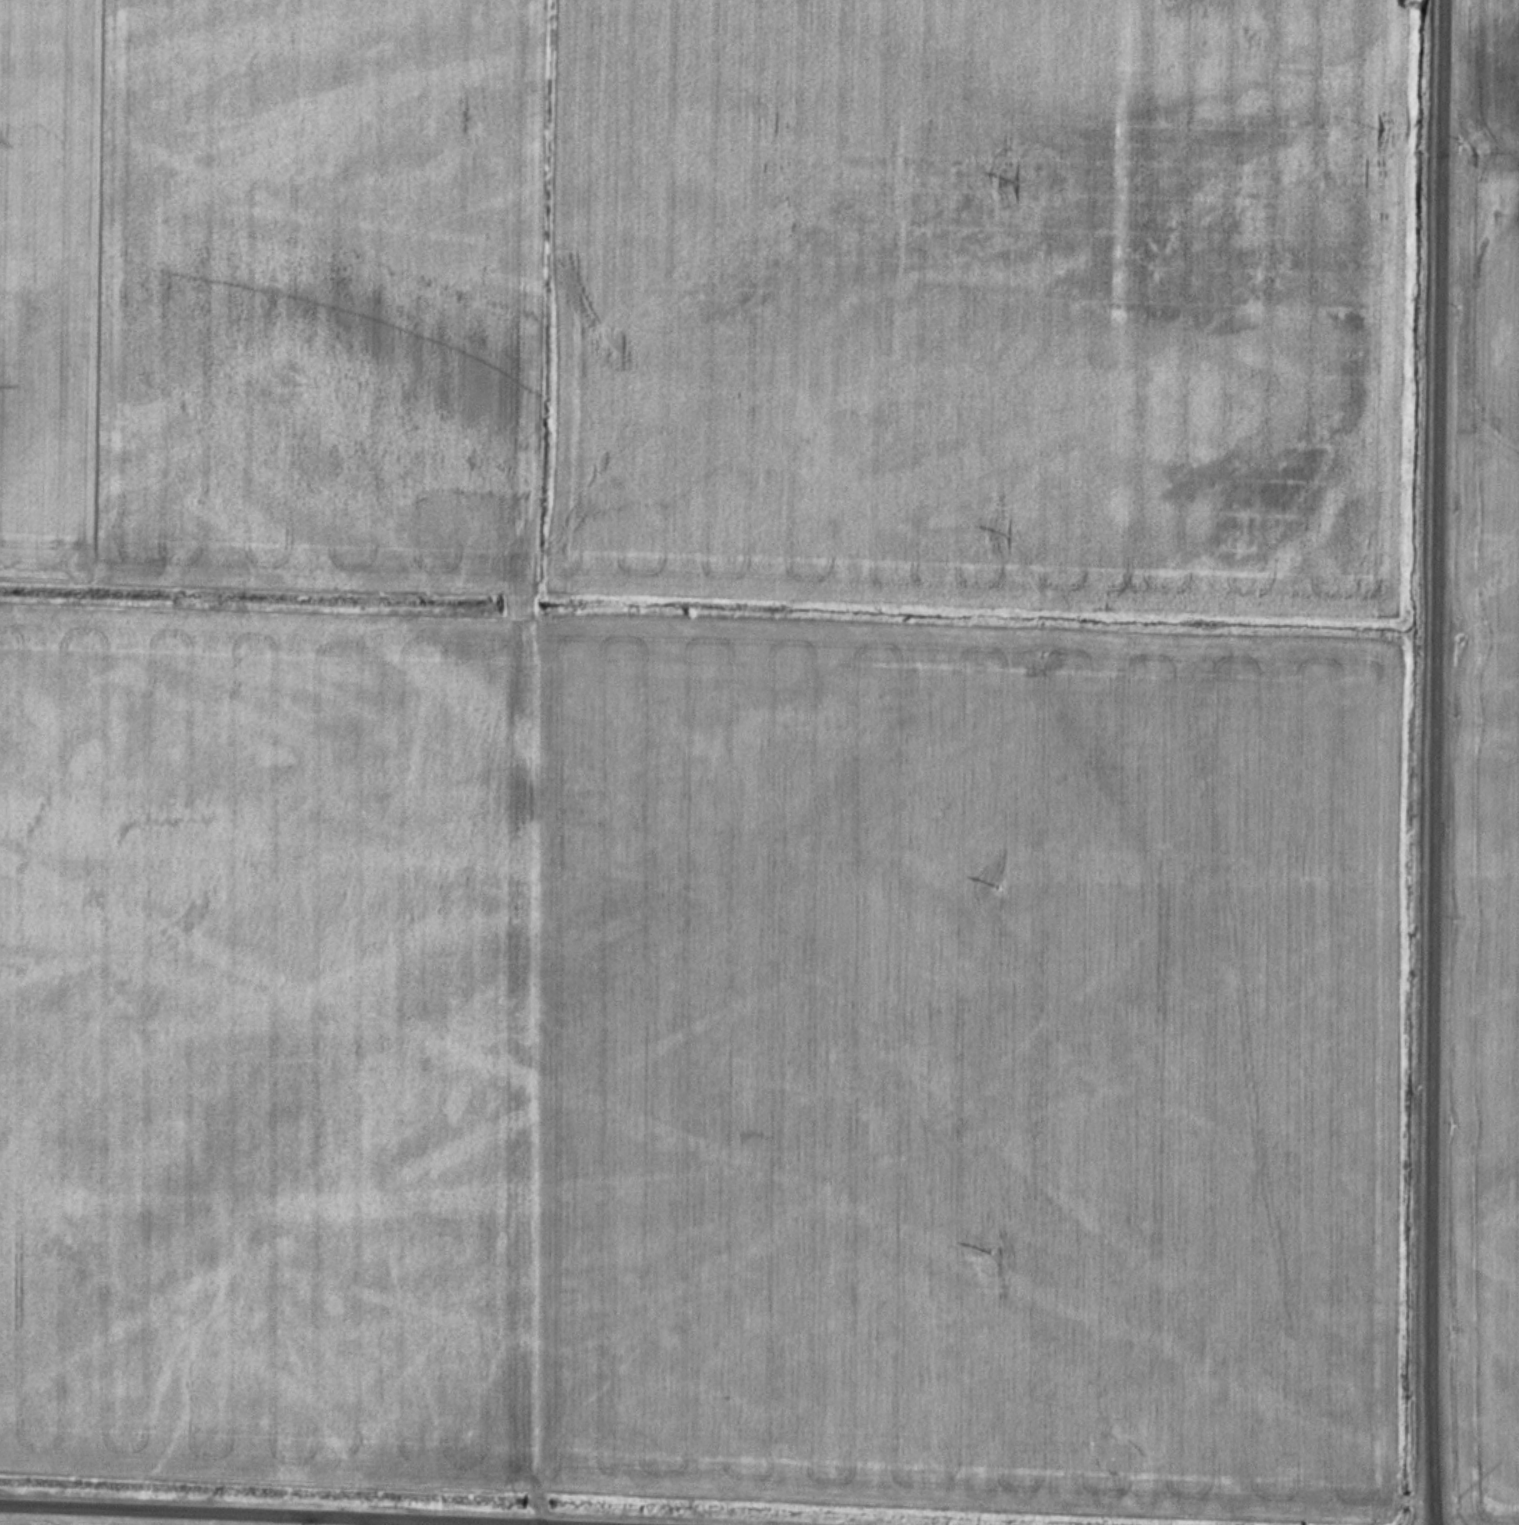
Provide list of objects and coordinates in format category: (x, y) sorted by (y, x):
road: (1441, 762)
road: (262, 1513)

